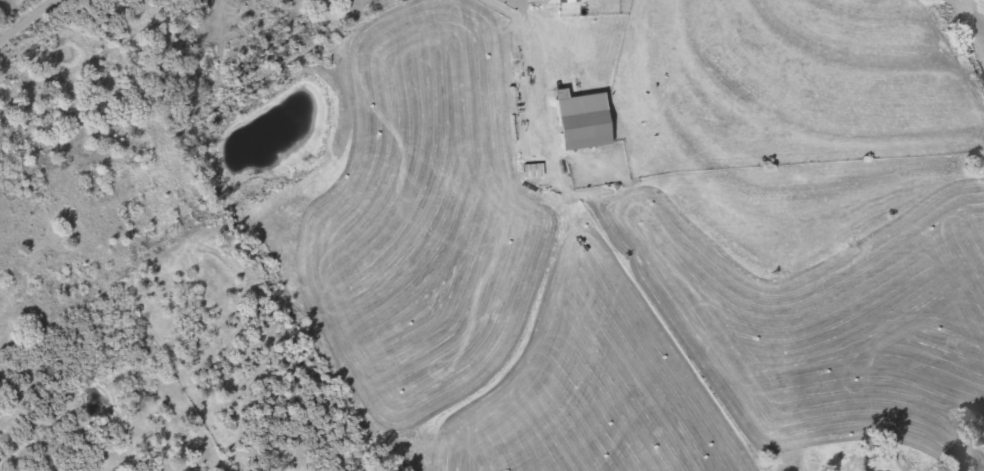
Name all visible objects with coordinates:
building: (545, 2)
road: (32, 18)
building: (577, 122)

